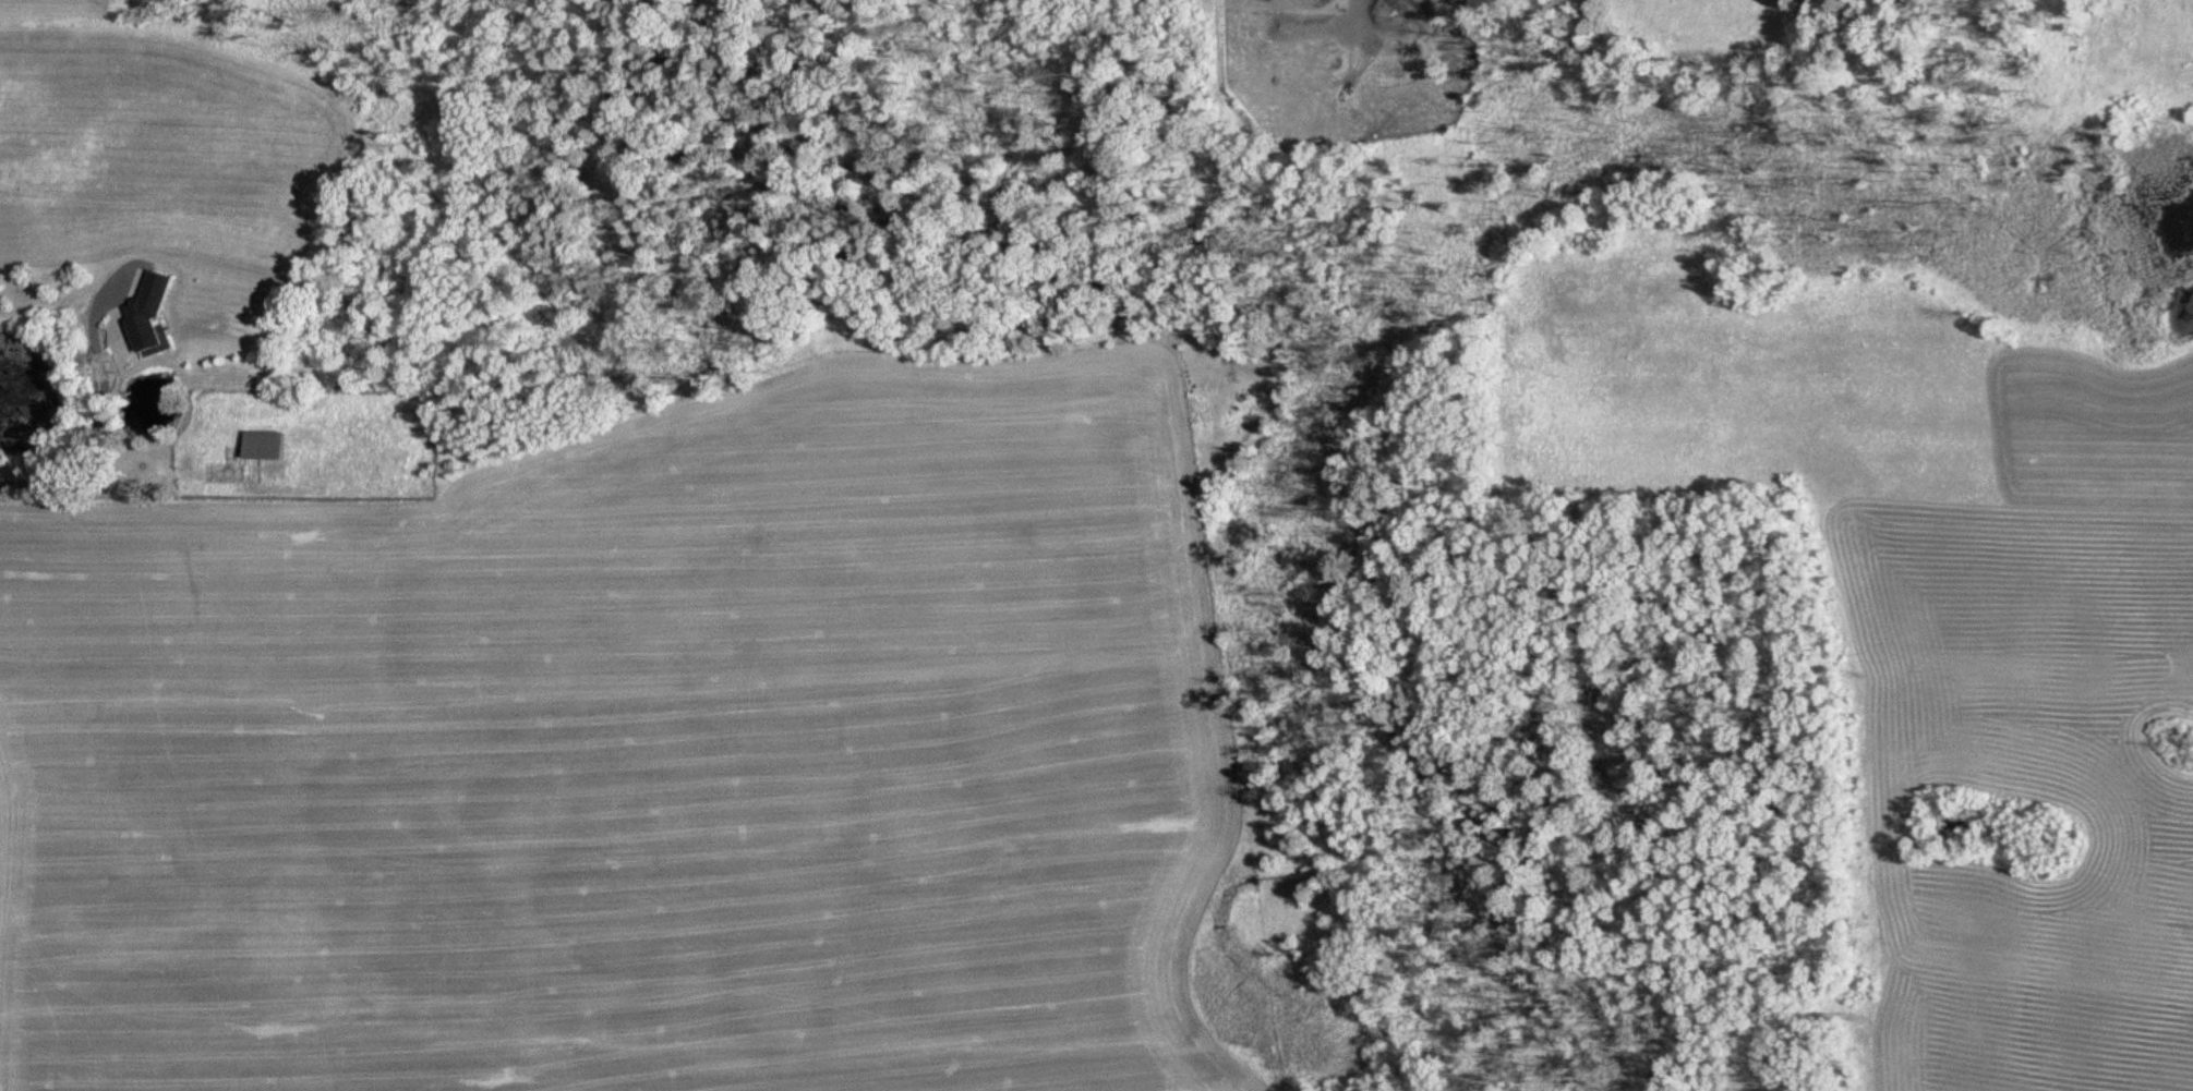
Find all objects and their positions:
building: (149, 334)
building: (269, 446)
building: (226, 456)

